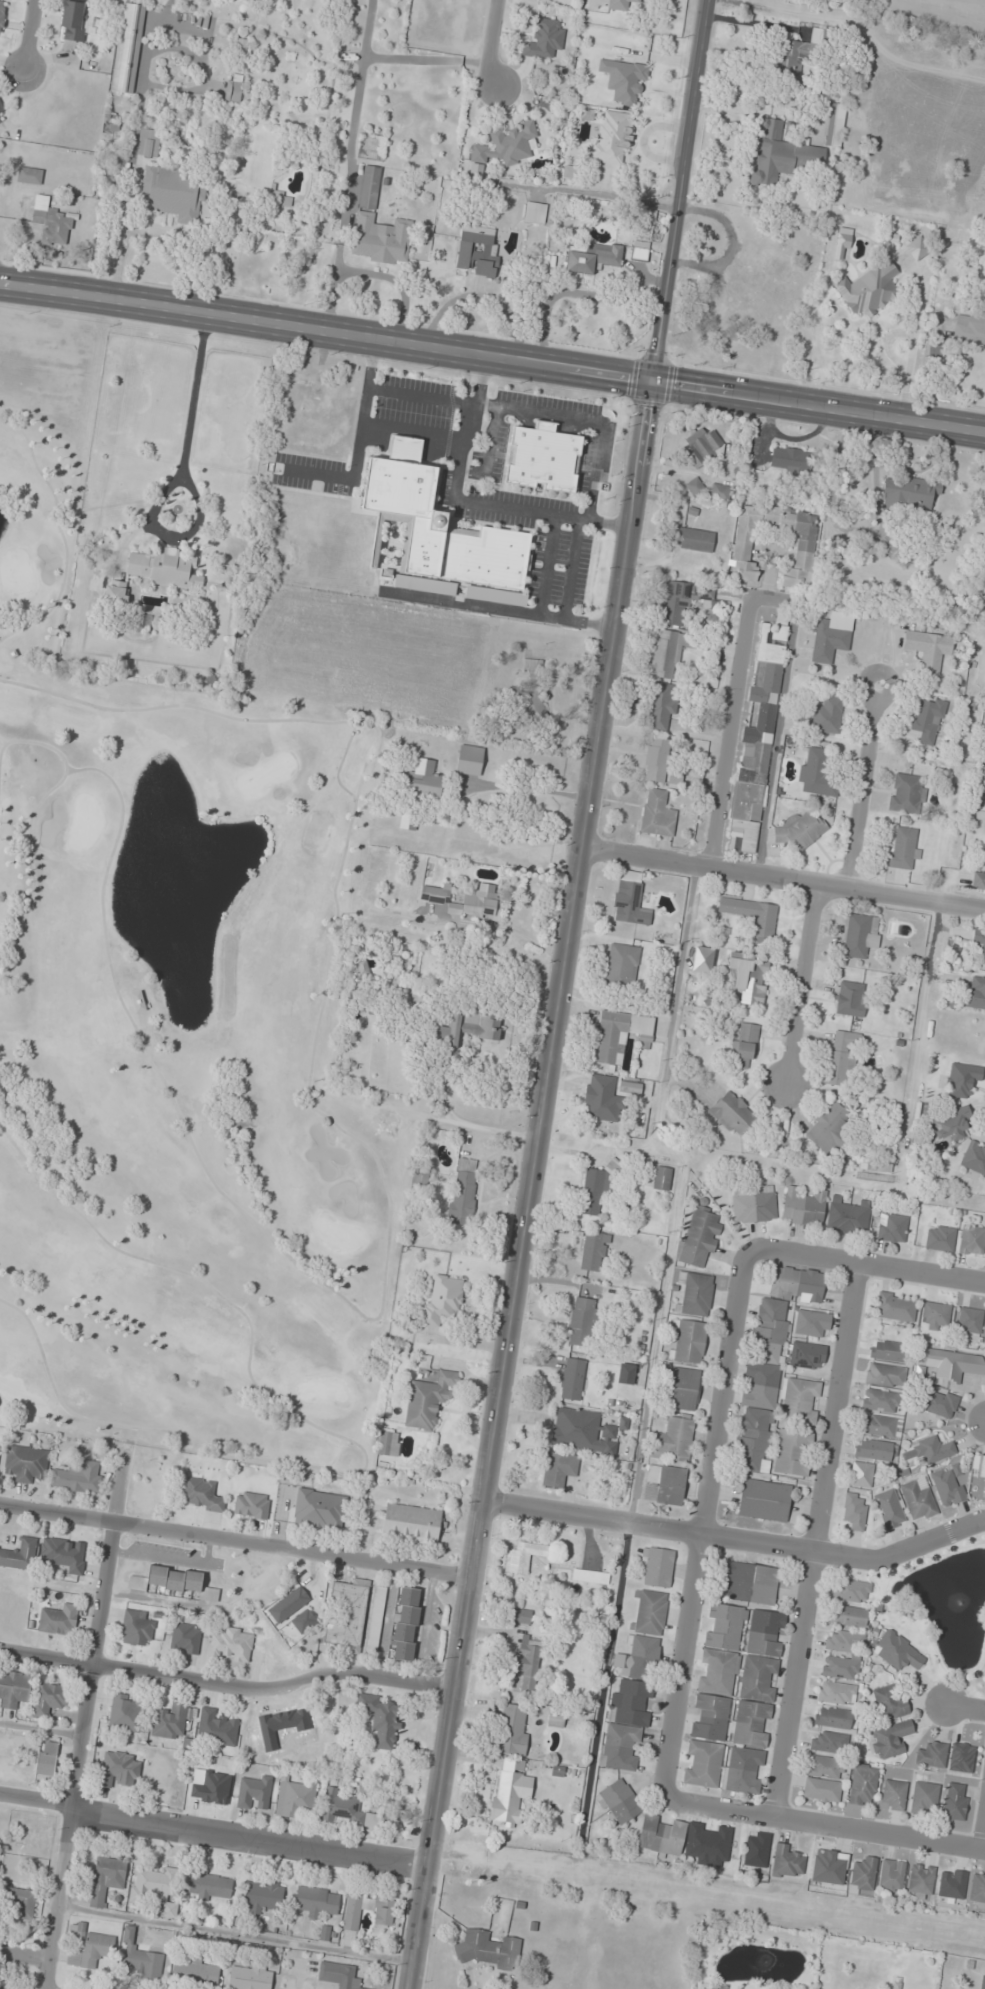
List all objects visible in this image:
building: (619, 4)
building: (2, 14)
building: (73, 20)
road: (30, 36)
building: (816, 36)
building: (543, 39)
road: (492, 44)
building: (241, 45)
building: (127, 48)
building: (787, 60)
building: (623, 79)
building: (233, 88)
building: (2, 113)
building: (835, 124)
building: (612, 137)
building: (148, 142)
building: (504, 146)
building: (782, 155)
building: (569, 171)
building: (29, 175)
building: (368, 192)
building: (172, 193)
building: (534, 212)
building: (52, 222)
building: (842, 243)
building: (917, 248)
building: (476, 251)
building: (639, 251)
building: (592, 258)
building: (740, 284)
building: (868, 289)
building: (969, 330)
road: (492, 356)
traffic signals: (651, 380)
building: (703, 447)
building: (543, 457)
building: (789, 459)
building: (695, 486)
building: (720, 492)
building: (909, 493)
building: (439, 530)
building: (693, 539)
building: (744, 549)
building: (164, 567)
building: (116, 592)
building: (705, 592)
building: (673, 603)
building: (829, 638)
building: (928, 649)
building: (666, 654)
building: (531, 688)
building: (660, 706)
building: (824, 717)
building: (928, 719)
road: (733, 734)
building: (757, 736)
building: (470, 759)
building: (656, 759)
building: (816, 771)
building: (424, 781)
building: (907, 793)
road: (865, 795)
building: (657, 813)
building: (408, 819)
building: (801, 829)
building: (903, 849)
road: (762, 876)
building: (978, 879)
building: (630, 899)
building: (466, 900)
road: (965, 905)
building: (753, 916)
building: (861, 935)
building: (979, 942)
building: (703, 959)
building: (622, 966)
building: (749, 976)
road: (805, 986)
road: (558, 994)
building: (974, 994)
building: (851, 998)
building: (138, 1001)
building: (466, 1029)
building: (619, 1034)
park: (179, 1043)
building: (746, 1045)
building: (841, 1055)
building: (962, 1079)
building: (630, 1087)
building: (598, 1098)
building: (732, 1113)
building: (949, 1124)
building: (831, 1127)
building: (974, 1157)
building: (661, 1178)
building: (596, 1187)
building: (463, 1191)
building: (753, 1205)
building: (803, 1207)
building: (848, 1216)
building: (892, 1227)
building: (699, 1237)
building: (940, 1238)
building: (972, 1238)
building: (593, 1251)
road: (865, 1262)
building: (695, 1293)
building: (443, 1300)
building: (895, 1306)
building: (935, 1314)
building: (970, 1320)
building: (581, 1321)
building: (812, 1323)
building: (688, 1341)
building: (888, 1350)
building: (807, 1355)
building: (770, 1362)
building: (626, 1373)
building: (885, 1375)
building: (572, 1379)
building: (684, 1388)
building: (428, 1400)
building: (799, 1400)
building: (880, 1400)
building: (938, 1403)
building: (881, 1425)
building: (582, 1432)
building: (673, 1440)
building: (0, 1442)
building: (388, 1443)
building: (876, 1449)
building: (932, 1449)
building: (792, 1452)
building: (26, 1463)
building: (980, 1467)
building: (559, 1468)
building: (861, 1474)
building: (79, 1477)
building: (664, 1485)
building: (948, 1485)
building: (984, 1493)
building: (201, 1494)
building: (918, 1499)
building: (764, 1500)
building: (251, 1505)
building: (889, 1508)
building: (320, 1510)
building: (854, 1511)
road: (699, 1520)
building: (410, 1523)
road: (814, 1537)
road: (735, 1539)
road: (235, 1540)
building: (20, 1553)
building: (64, 1554)
building: (522, 1556)
building: (658, 1567)
building: (590, 1576)
building: (173, 1581)
building: (751, 1583)
building: (851, 1590)
building: (650, 1612)
building: (347, 1615)
building: (520, 1615)
building: (847, 1616)
building: (376, 1619)
building: (56, 1621)
building: (406, 1624)
building: (136, 1628)
road: (99, 1631)
building: (185, 1638)
building: (843, 1641)
building: (231, 1645)
building: (898, 1651)
building: (527, 1665)
building: (840, 1667)
building: (717, 1671)
building: (758, 1676)
road: (227, 1684)
building: (14, 1688)
building: (837, 1693)
building: (49, 1699)
building: (629, 1703)
building: (889, 1703)
road: (967, 1707)
building: (125, 1713)
building: (832, 1717)
building: (381, 1719)
building: (555, 1719)
building: (169, 1721)
building: (216, 1728)
building: (513, 1729)
building: (890, 1739)
building: (829, 1742)
building: (932, 1755)
building: (46, 1758)
building: (961, 1758)
building: (702, 1764)
building: (825, 1767)
building: (118, 1769)
building: (744, 1770)
building: (862, 1784)
building: (821, 1789)
building: (510, 1790)
building: (253, 1792)
building: (893, 1794)
building: (298, 1798)
building: (925, 1798)
building: (955, 1801)
building: (618, 1802)
building: (341, 1808)
road: (825, 1823)
road: (213, 1831)
building: (661, 1835)
building: (709, 1843)
building: (756, 1849)
building: (786, 1862)
building: (863, 1872)
building: (891, 1876)
building: (106, 1879)
building: (920, 1881)
building: (952, 1885)
building: (209, 1886)
building: (155, 1889)
building: (977, 1889)
building: (262, 1896)
road: (63, 1899)
building: (19, 1900)
building: (317, 1901)
building: (383, 1911)
building: (352, 1912)
building: (87, 1947)
building: (489, 1949)
road: (28, 1957)
building: (139, 1958)
building: (195, 1973)
building: (339, 1975)
building: (249, 1977)
building: (984, 1981)
building: (3, 1988)

